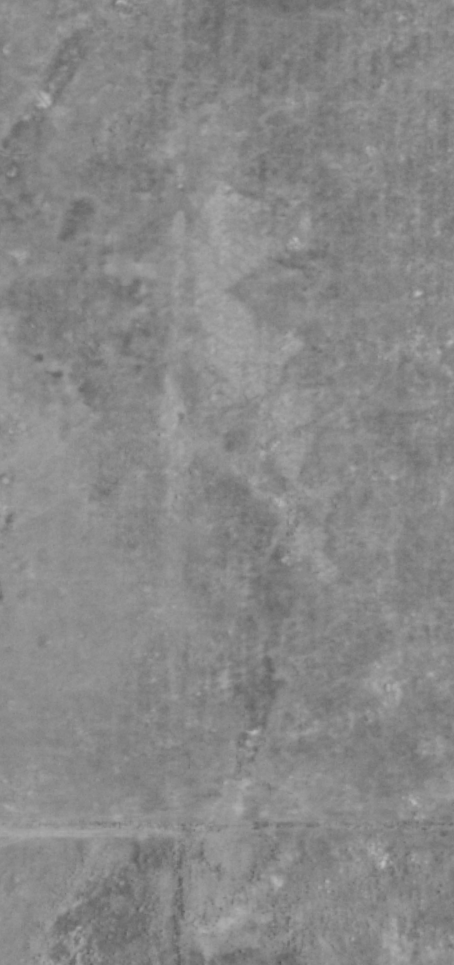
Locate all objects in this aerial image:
road: (227, 825)

